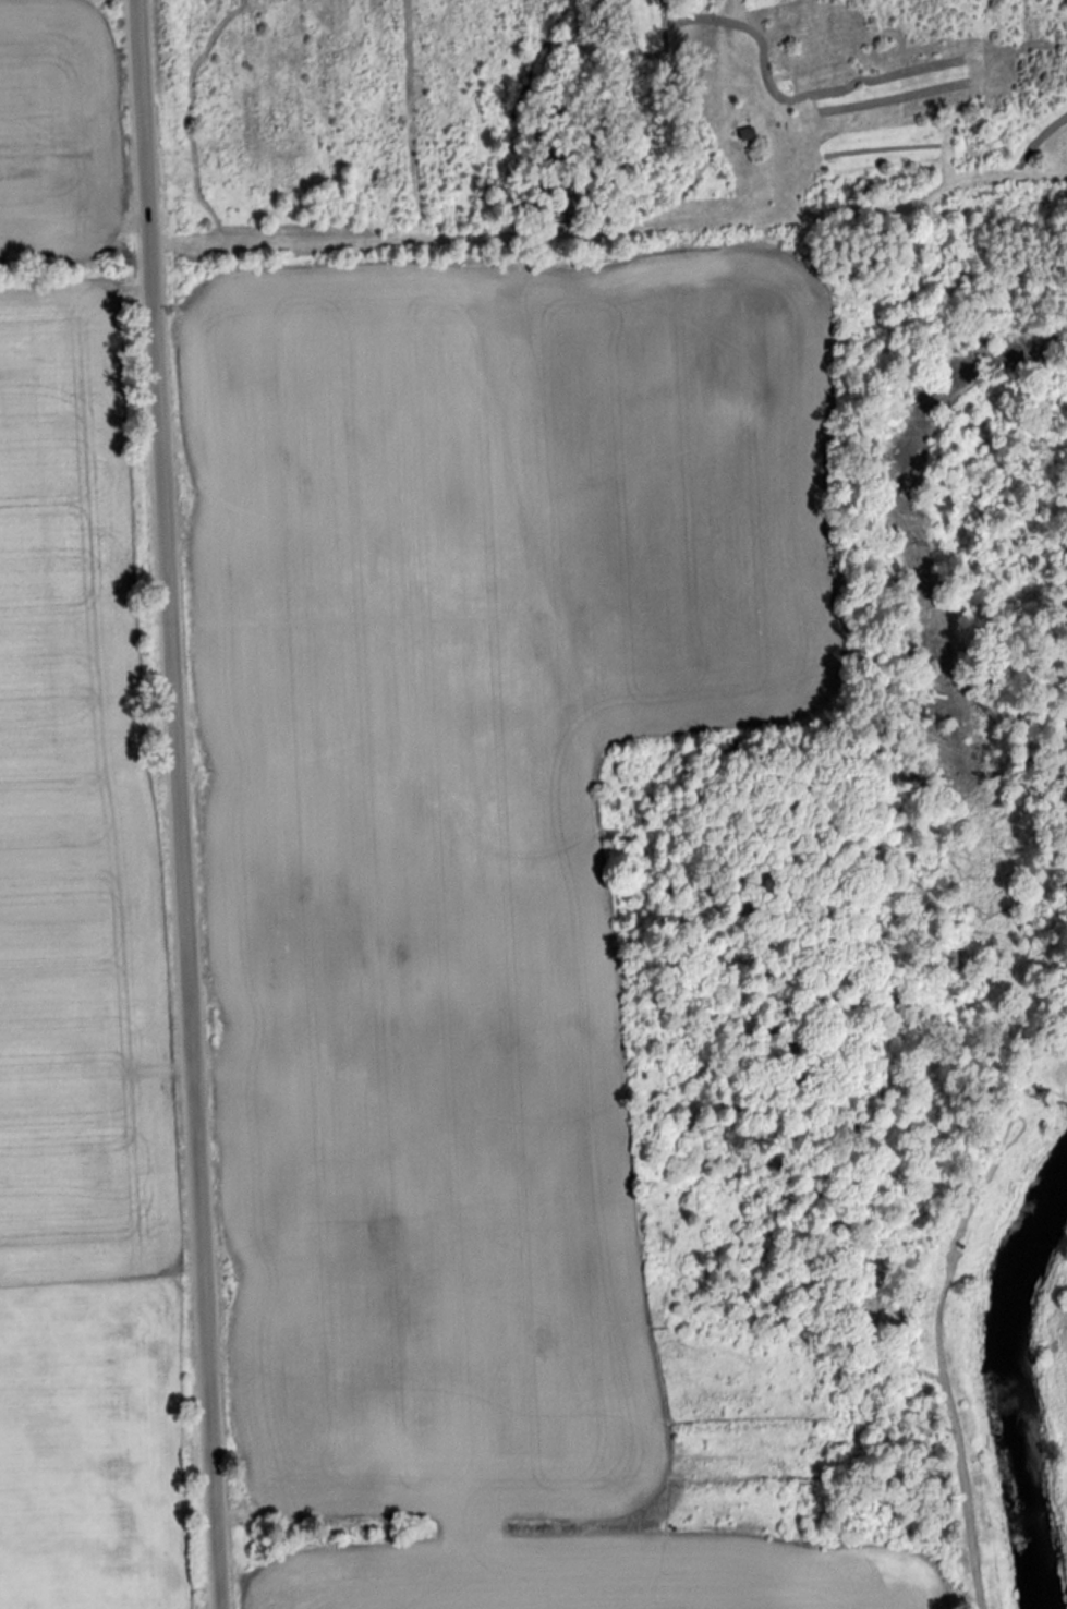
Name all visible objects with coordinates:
road: (173, 804)
crop: (70, 1000)
river: (1001, 1375)

